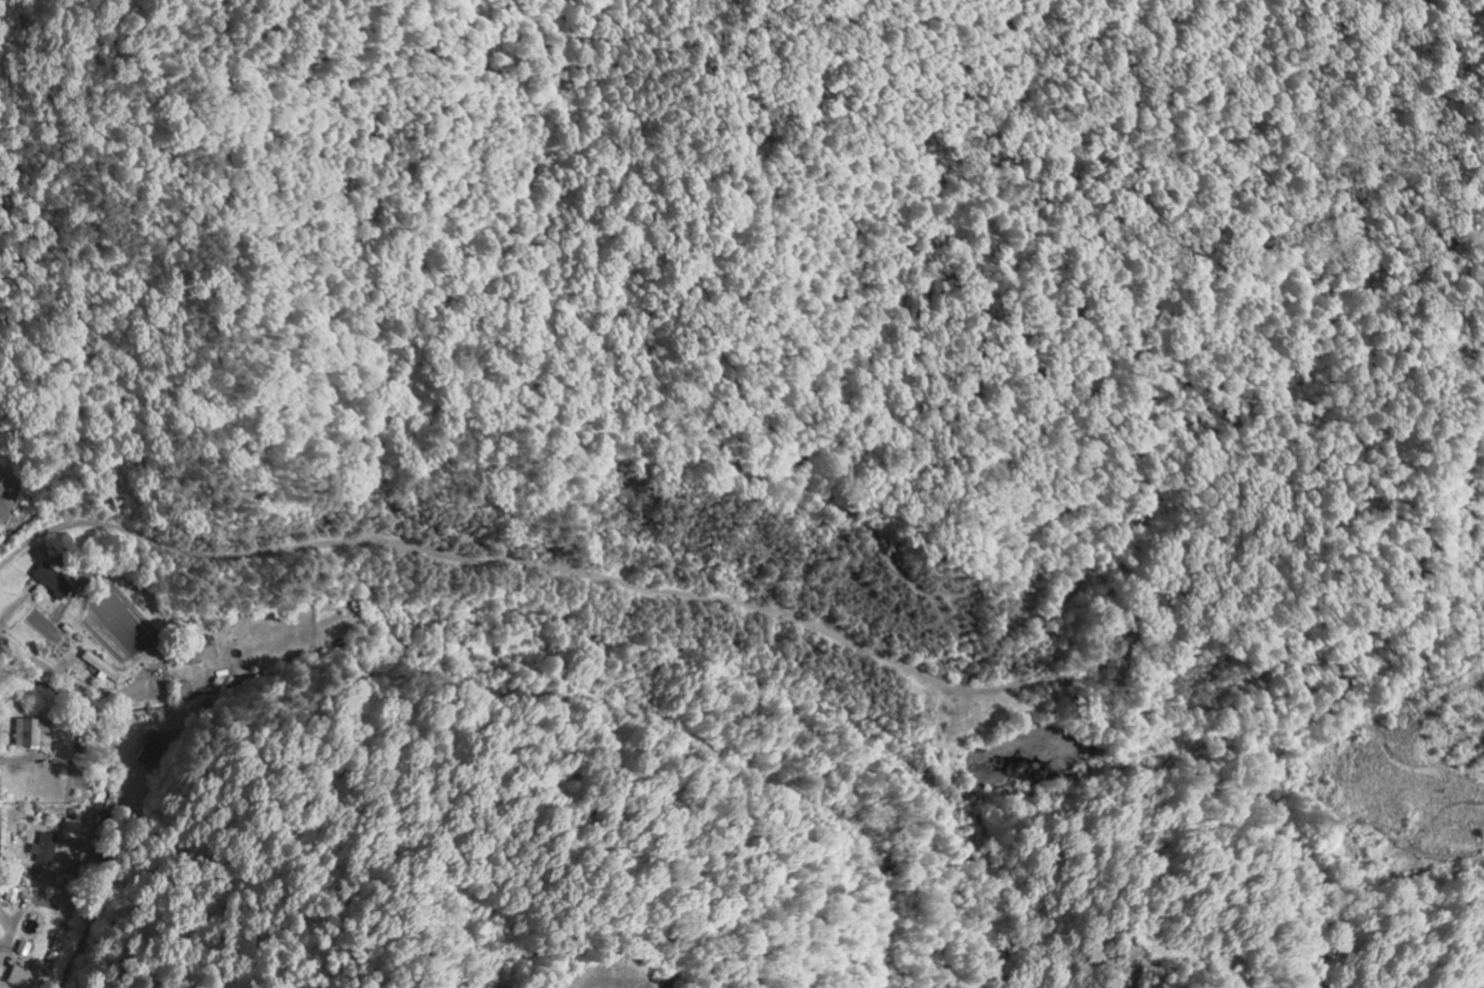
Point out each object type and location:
building: (54, 583)
building: (205, 652)
building: (103, 671)
road: (70, 680)
building: (31, 733)
building: (42, 898)
building: (25, 949)

